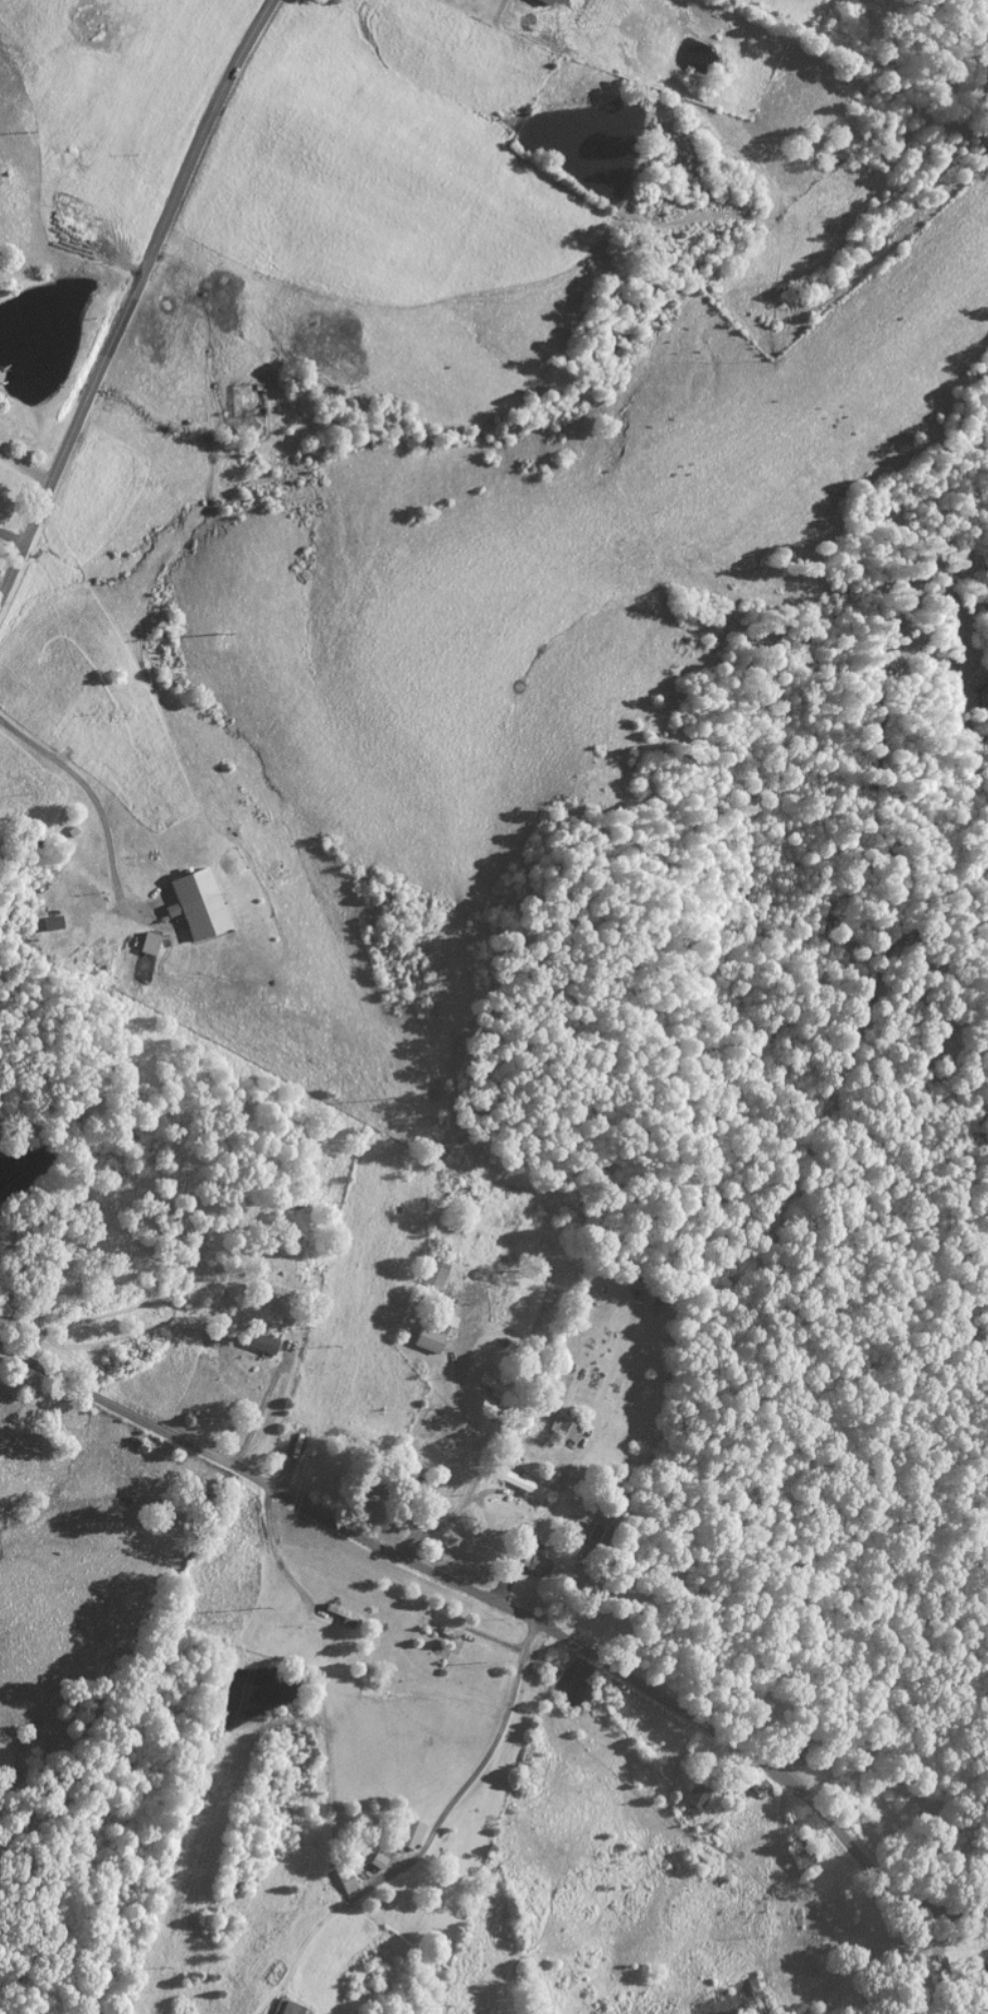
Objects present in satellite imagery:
building: (546, 1)
road: (125, 264)
road: (131, 295)
road: (11, 536)
road: (90, 792)
building: (72, 829)
building: (198, 903)
building: (50, 923)
building: (148, 943)
building: (433, 1274)
building: (432, 1332)
building: (261, 1343)
building: (492, 1385)
building: (564, 1429)
building: (520, 1484)
building: (594, 1534)
building: (534, 1563)
road: (511, 1610)
building: (694, 1798)
building: (408, 1833)
building: (376, 1860)
building: (345, 1879)
building: (286, 2007)

